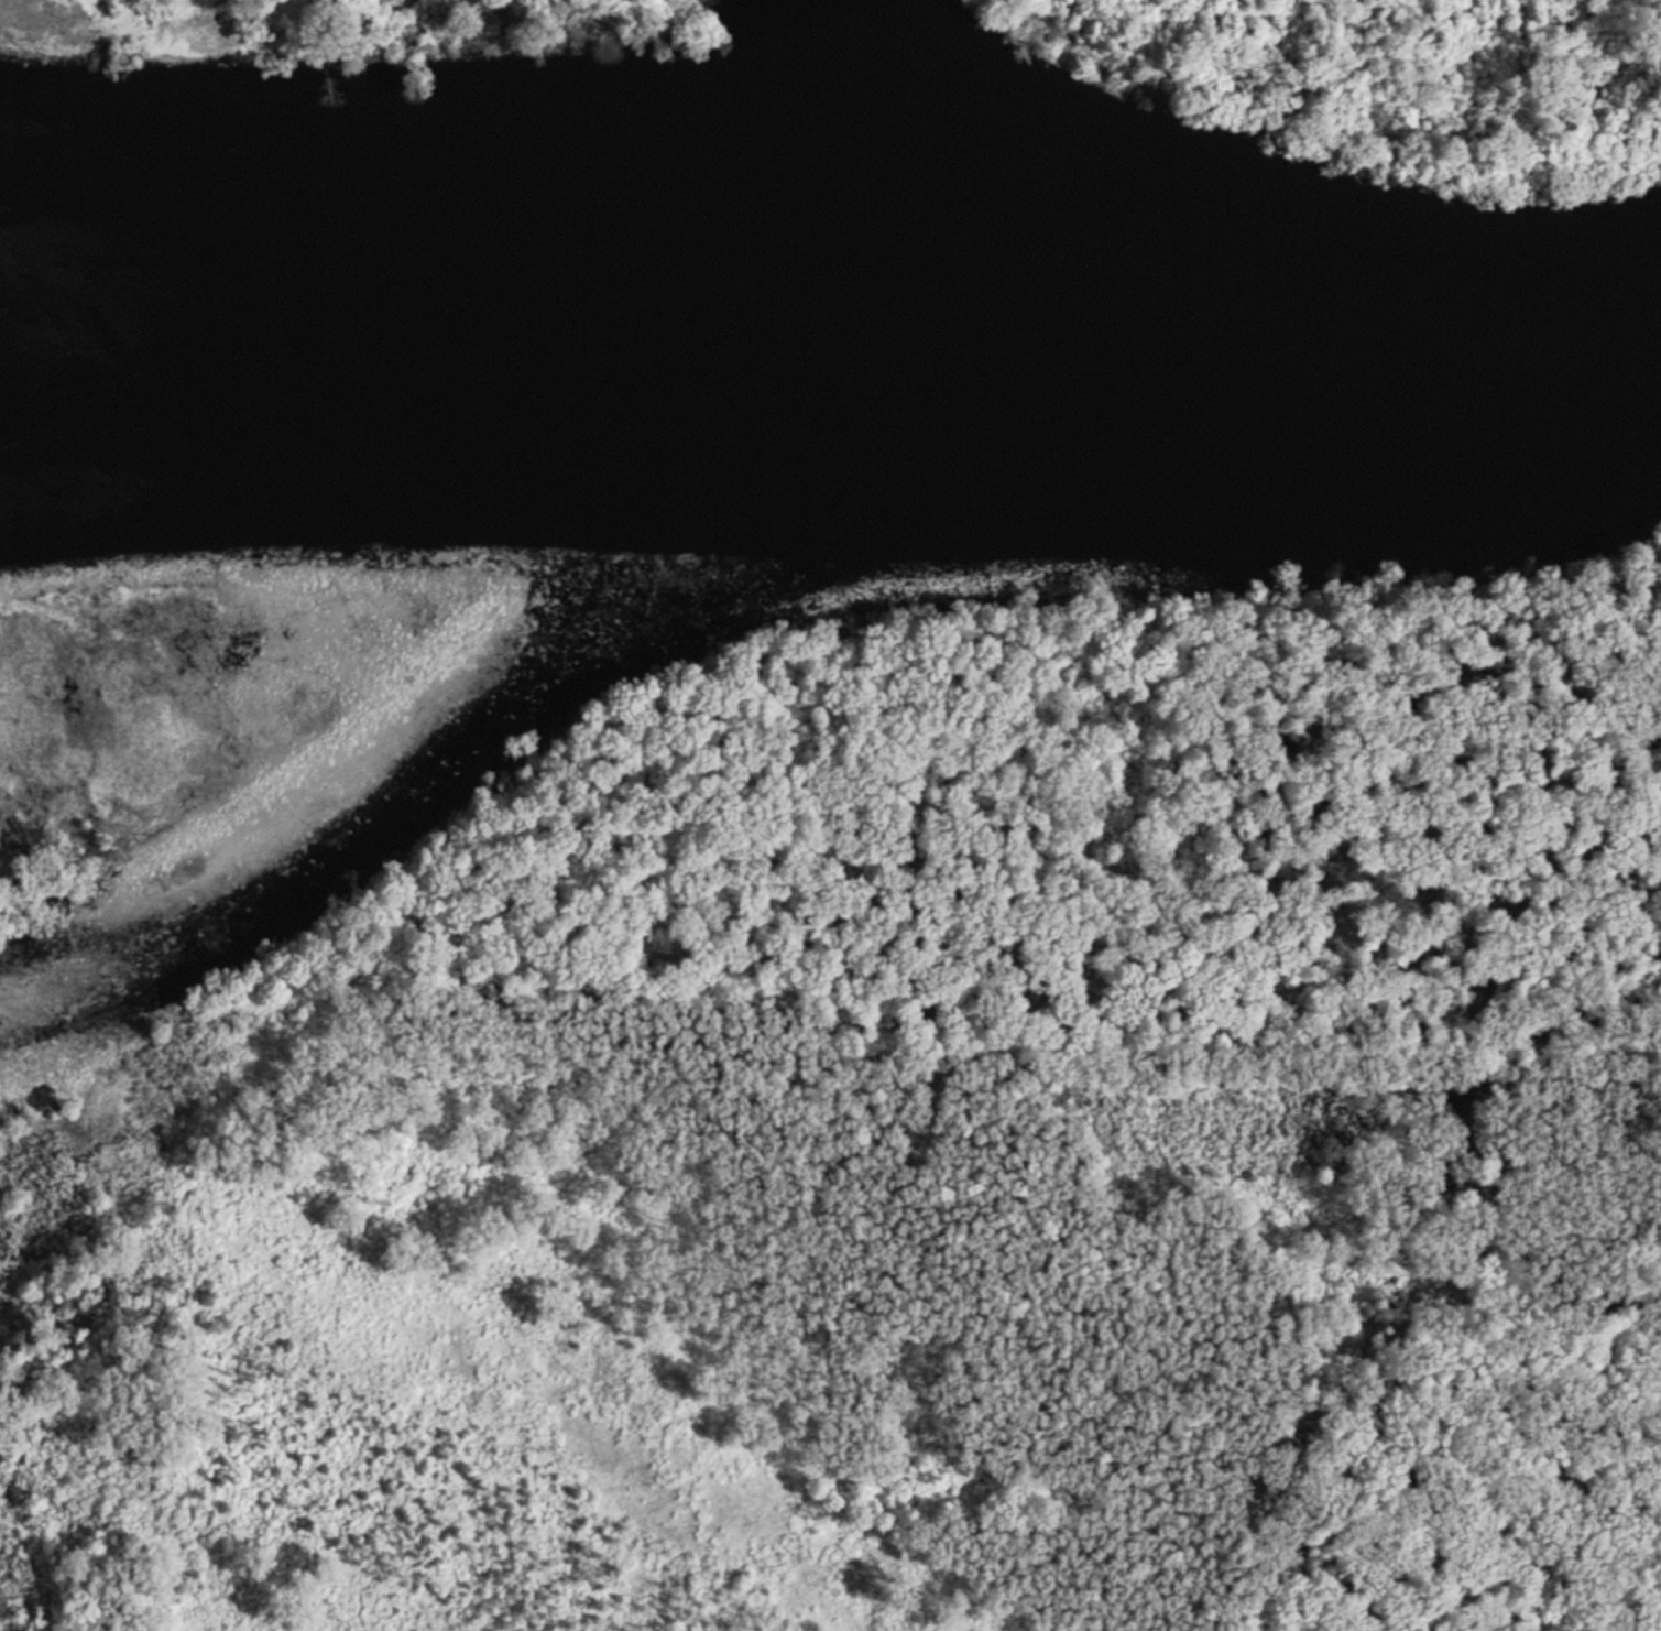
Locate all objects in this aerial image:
river: (830, 330)

